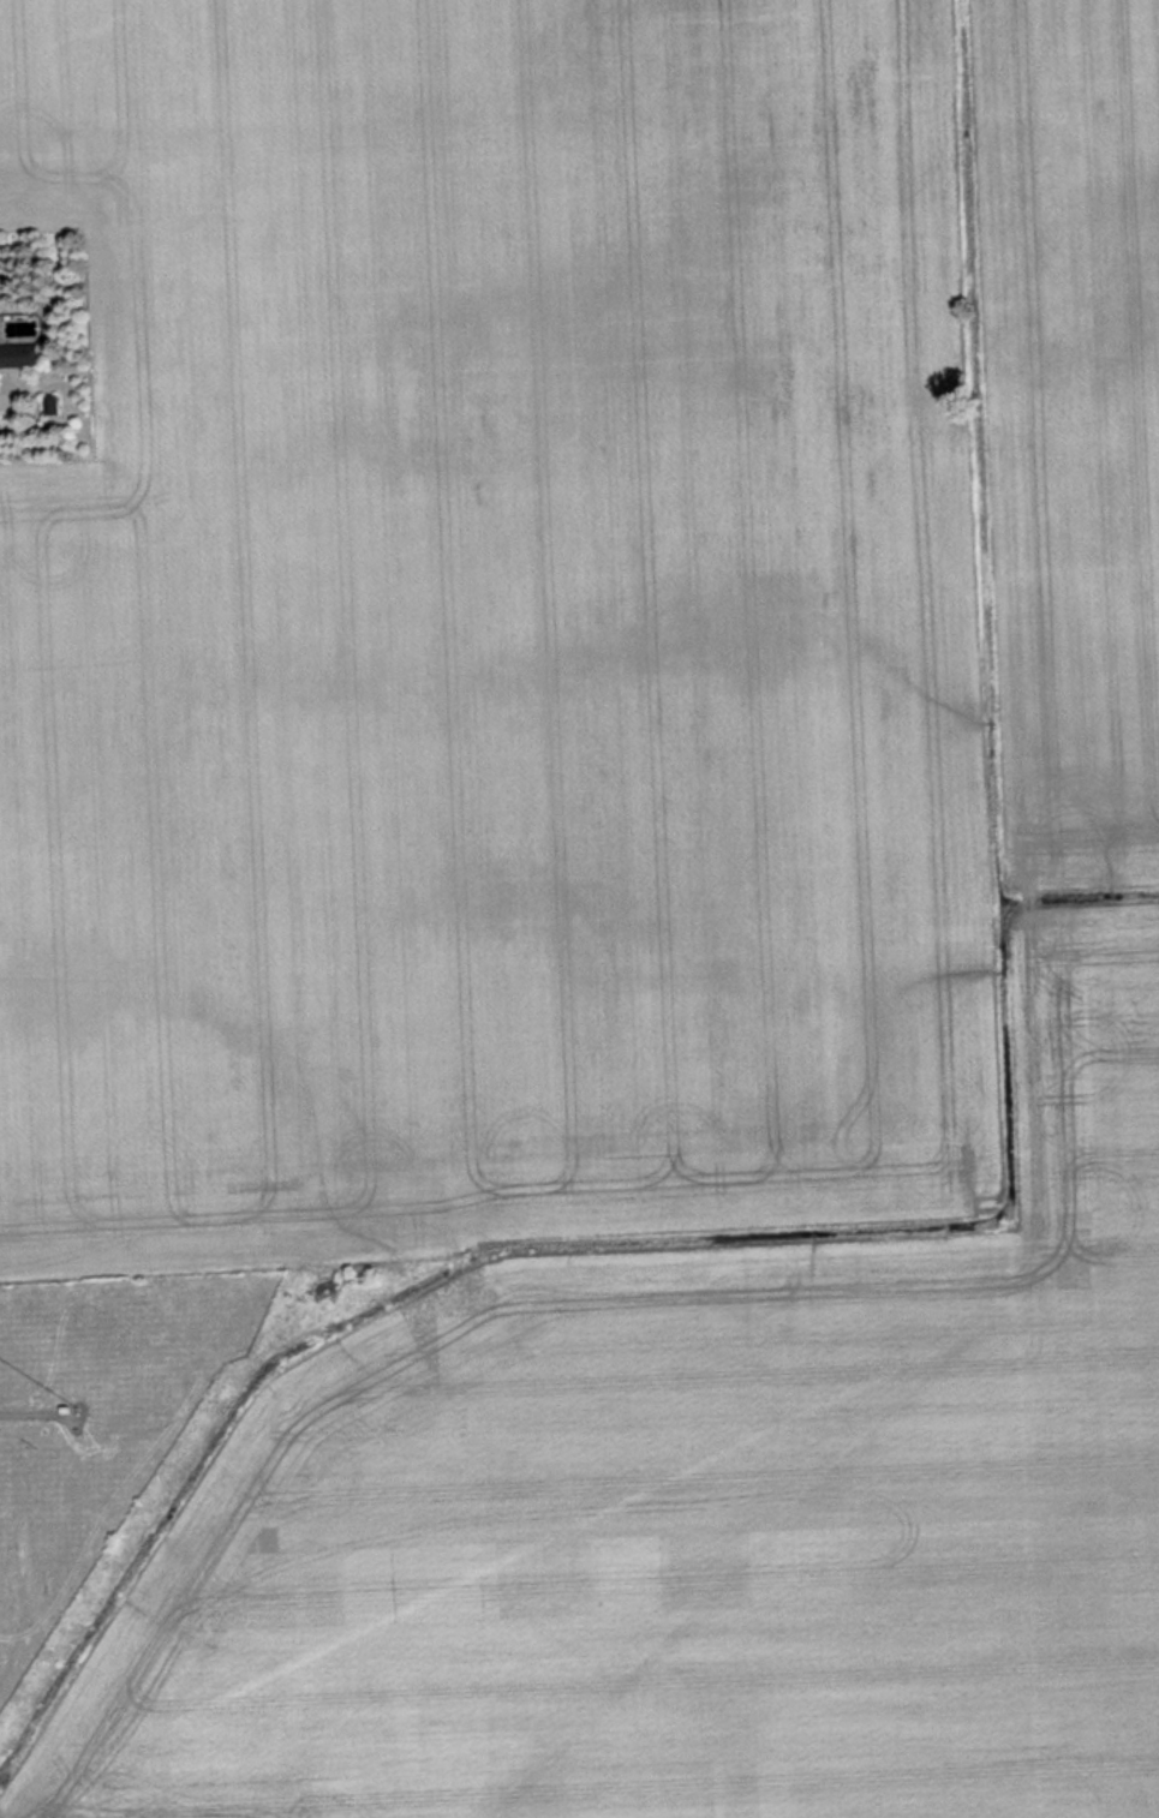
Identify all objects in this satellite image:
building: (20, 357)

